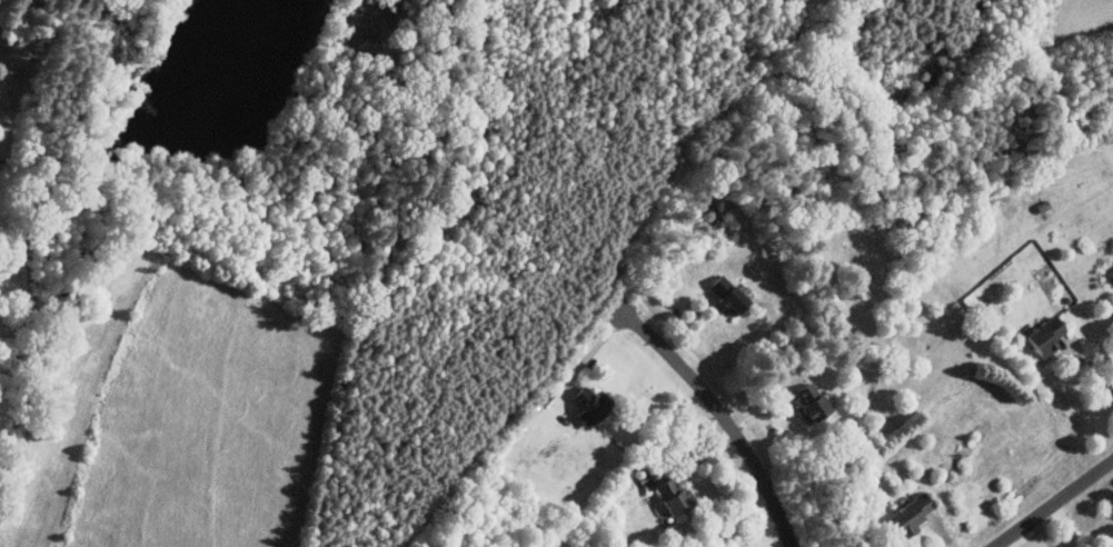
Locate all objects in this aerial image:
building: (1110, 276)
building: (732, 295)
building: (1052, 335)
road: (1090, 364)
building: (814, 404)
road: (721, 418)
building: (677, 497)
road: (1056, 506)
building: (912, 517)
road: (1044, 535)

